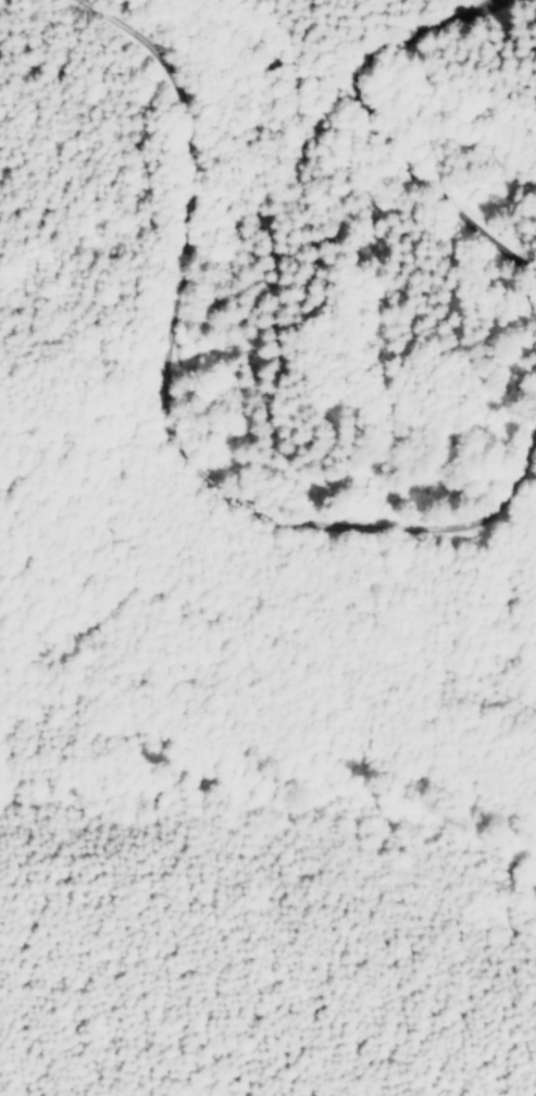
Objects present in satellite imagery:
road: (292, 202)
road: (279, 449)

